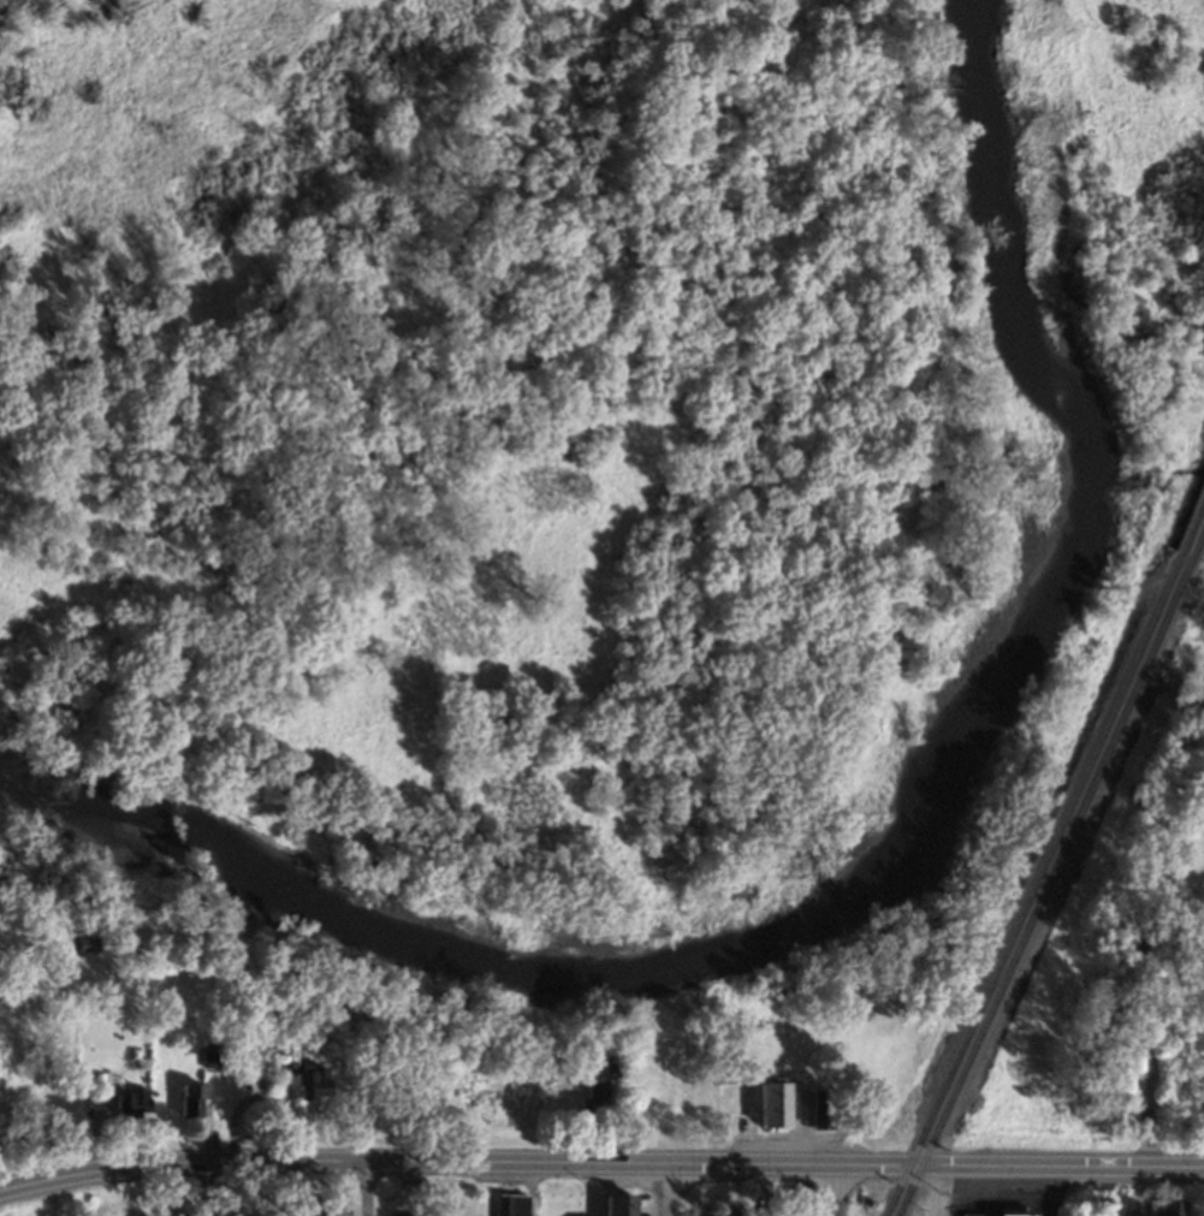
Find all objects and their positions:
railway: (1196, 530)
railway: (1199, 545)
railway: (1060, 861)
river: (883, 865)
railway: (1037, 885)
building: (312, 1084)
building: (597, 1096)
building: (192, 1101)
building: (134, 1102)
building: (771, 1105)
road: (1146, 1113)
road: (600, 1162)
road: (367, 1187)
road: (836, 1191)
railway: (909, 1191)
road: (951, 1191)
road: (1052, 1191)
building: (618, 1204)
building: (512, 1205)
building: (331, 1206)
building: (1173, 1208)
building: (724, 1211)
building: (179, 1214)
building: (997, 1214)

